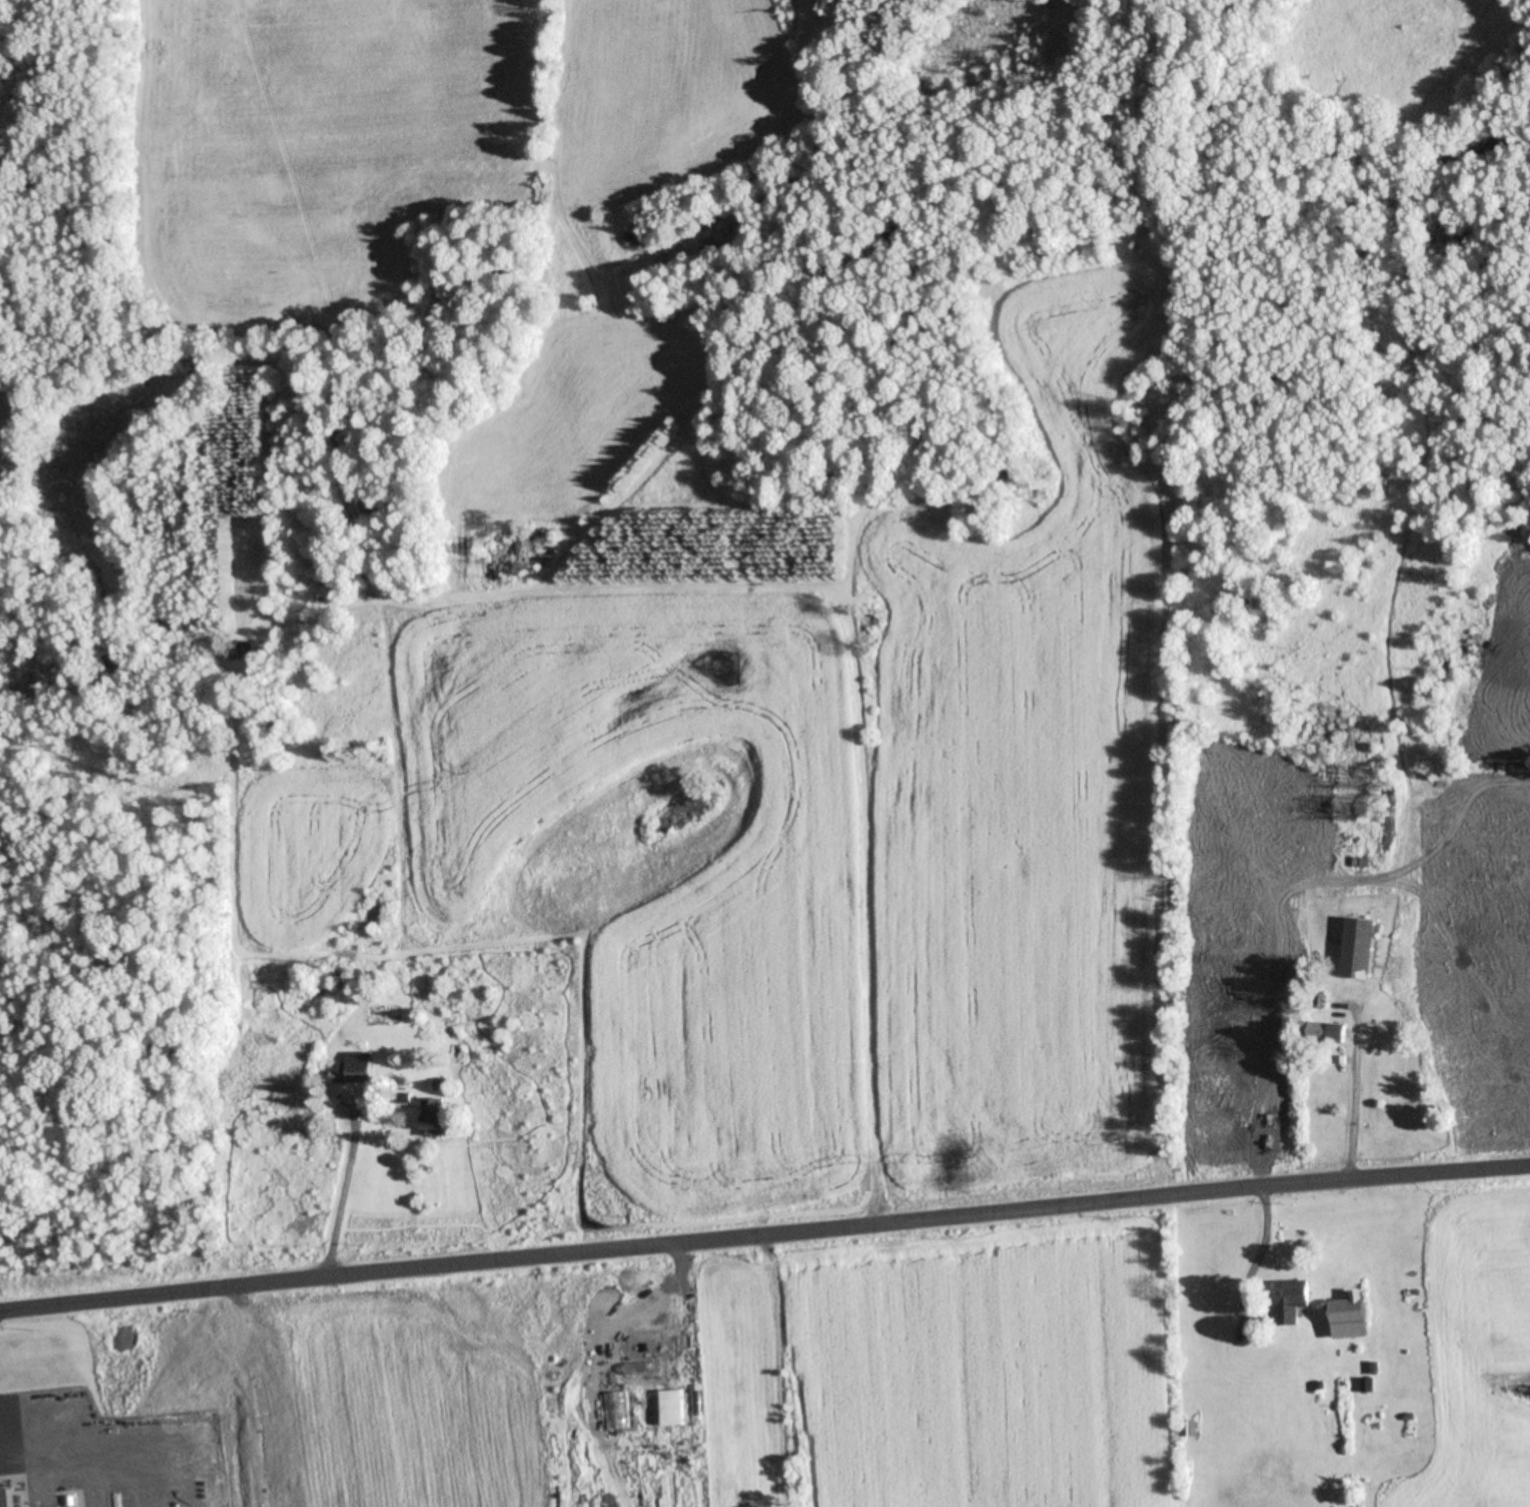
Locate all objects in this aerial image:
road: (51, 105)
park: (69, 184)
building: (635, 239)
building: (242, 651)
building: (1354, 949)
building: (1317, 1031)
building: (358, 1068)
building: (437, 1117)
road: (764, 1236)
building: (1286, 1304)
building: (1341, 1317)
building: (673, 1407)
building: (1185, 1429)

